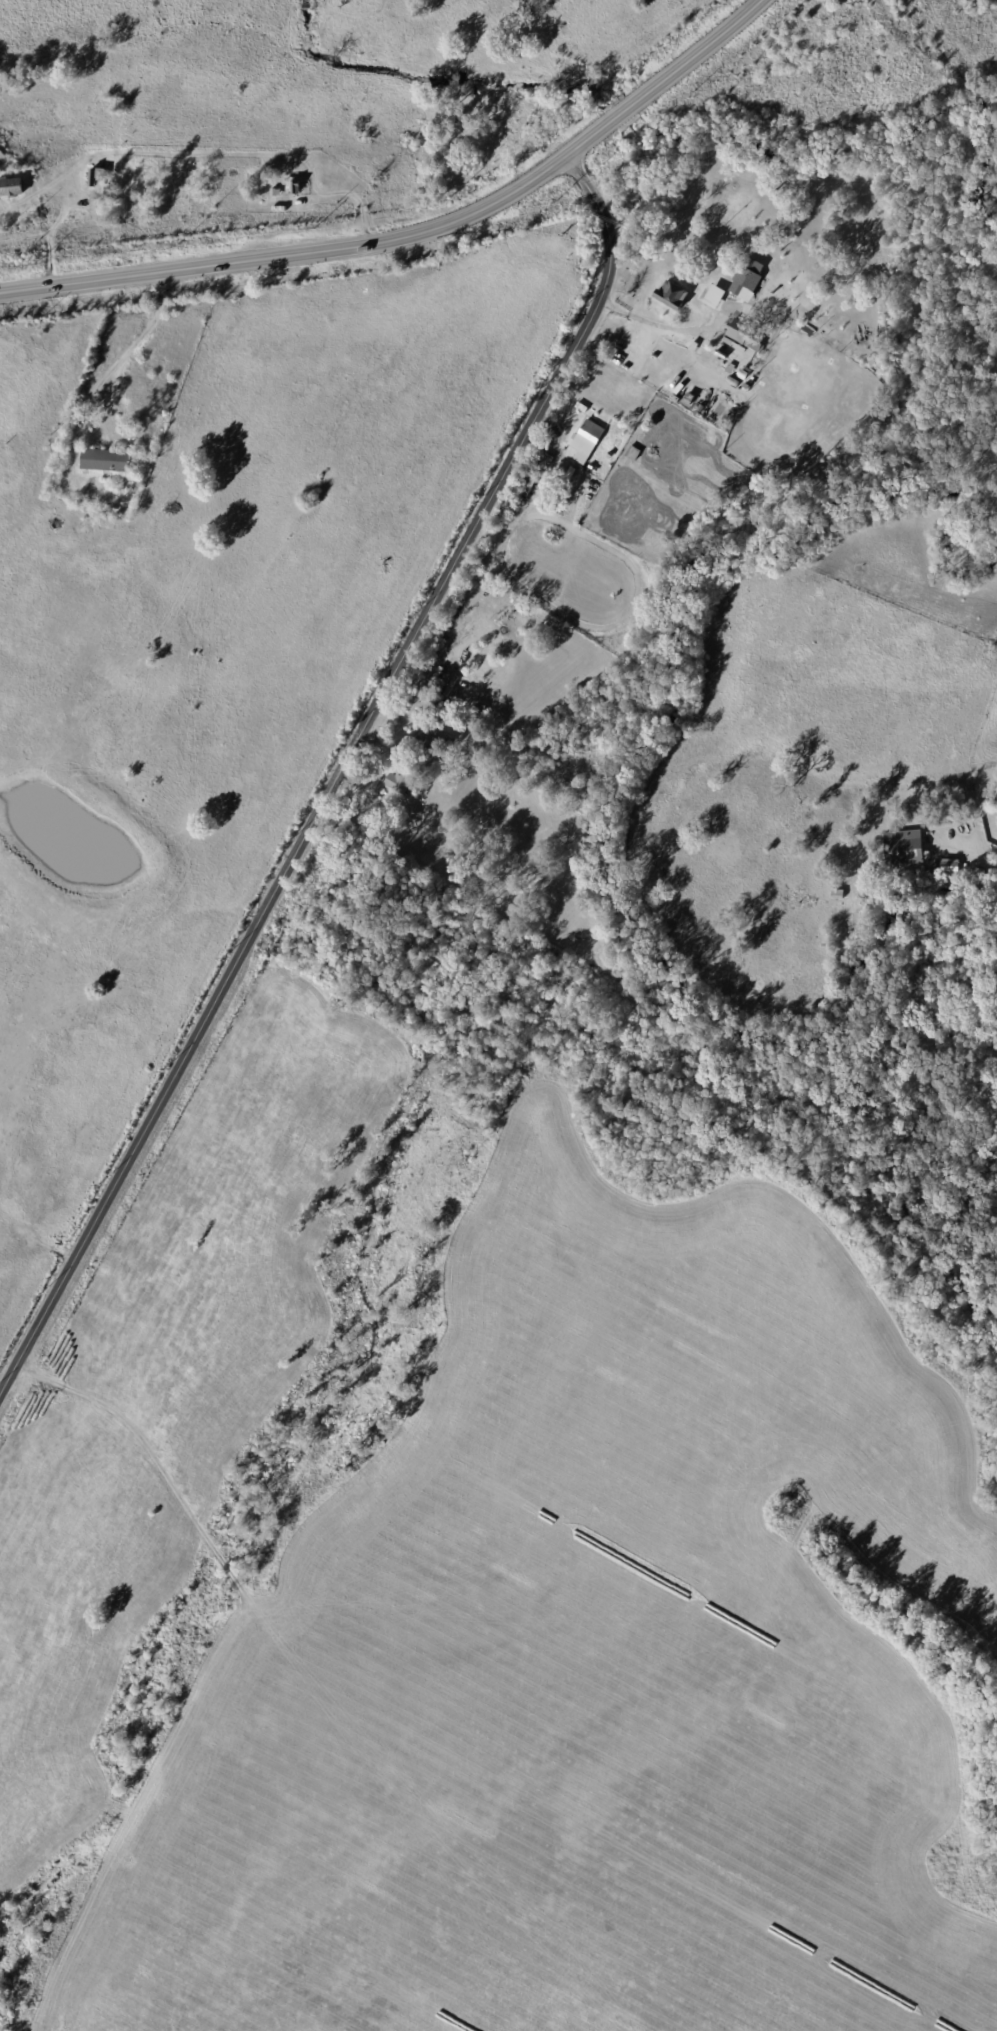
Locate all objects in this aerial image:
road: (696, 52)
road: (620, 112)
road: (138, 148)
building: (11, 186)
road: (320, 251)
building: (745, 278)
building: (714, 296)
road: (645, 321)
building: (745, 336)
building: (653, 356)
road: (110, 365)
building: (580, 407)
building: (585, 440)
building: (632, 453)
building: (608, 456)
building: (545, 459)
building: (106, 462)
building: (561, 497)
building: (63, 505)
building: (424, 704)
building: (478, 709)
building: (447, 742)
building: (416, 760)
road: (335, 774)
building: (902, 847)
road: (980, 863)
building: (949, 865)
building: (932, 867)
building: (837, 894)

